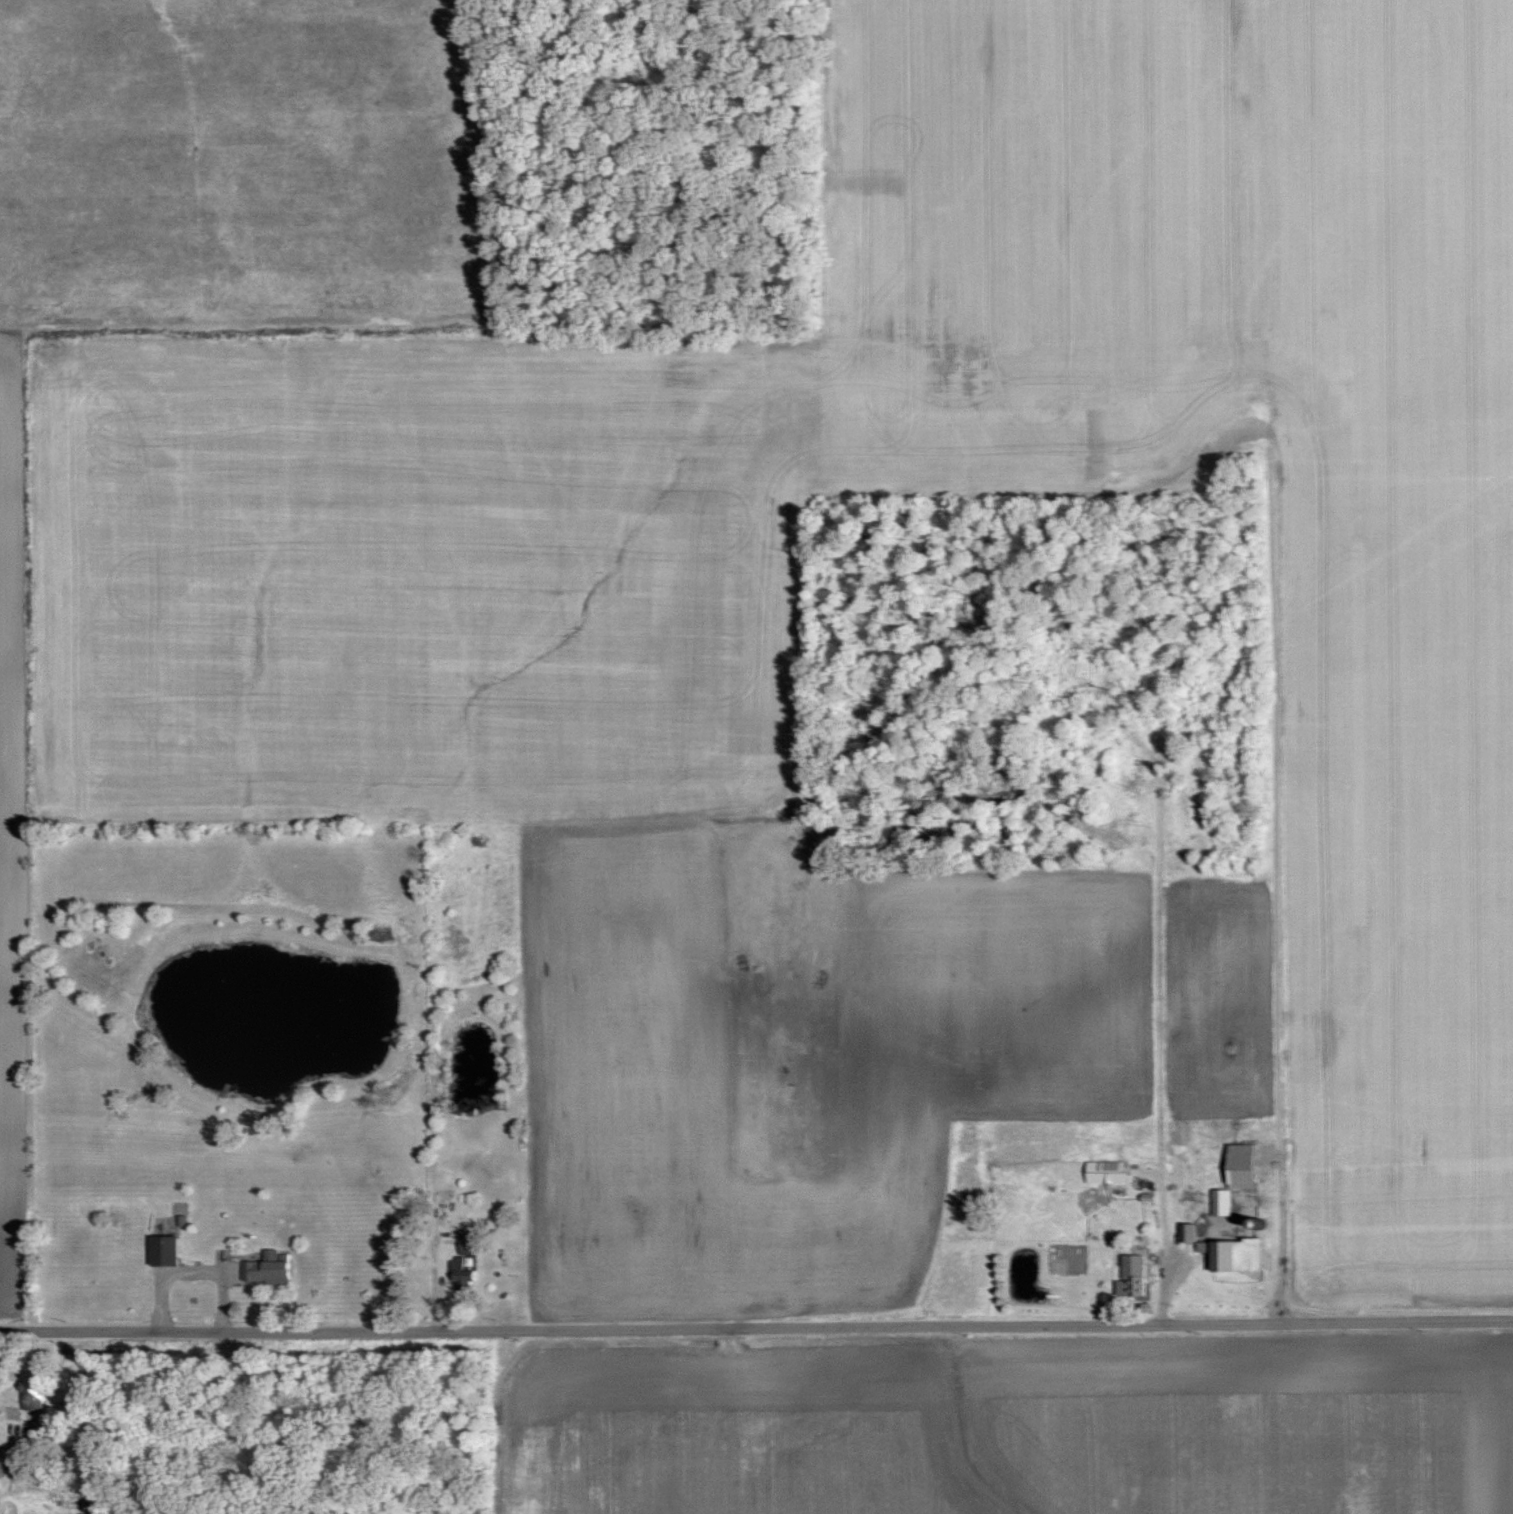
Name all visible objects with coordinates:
building: (1107, 1172)
building: (1237, 1176)
building: (443, 1177)
building: (1189, 1233)
building: (466, 1244)
building: (164, 1250)
building: (1237, 1256)
building: (268, 1268)
building: (462, 1274)
building: (1133, 1283)
road: (756, 1326)
building: (35, 1392)
building: (1, 1466)

